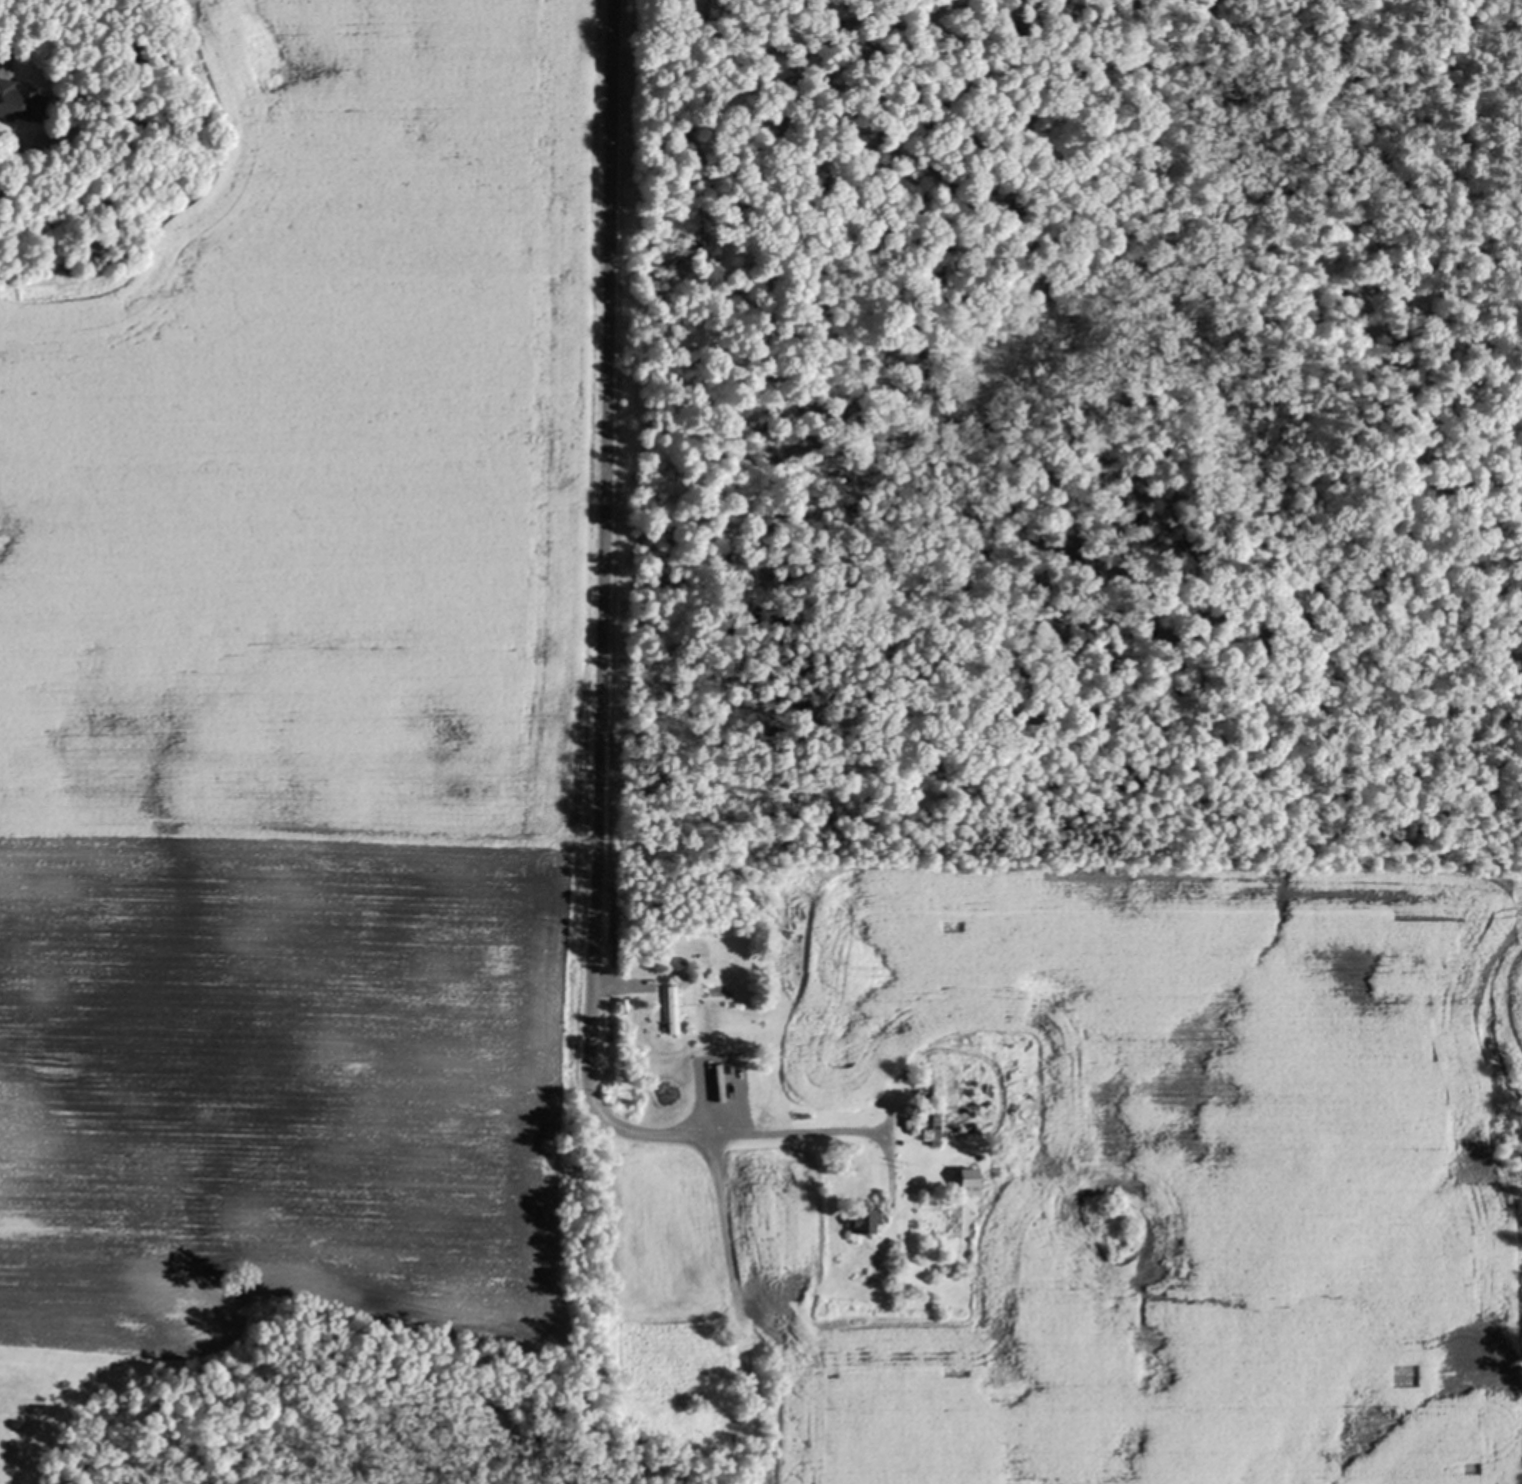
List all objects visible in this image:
building: (20, 99)
road: (600, 692)
building: (683, 977)
building: (673, 1009)
building: (909, 1106)
building: (935, 1127)
building: (774, 1151)
building: (789, 1161)
building: (969, 1177)
building: (866, 1222)

